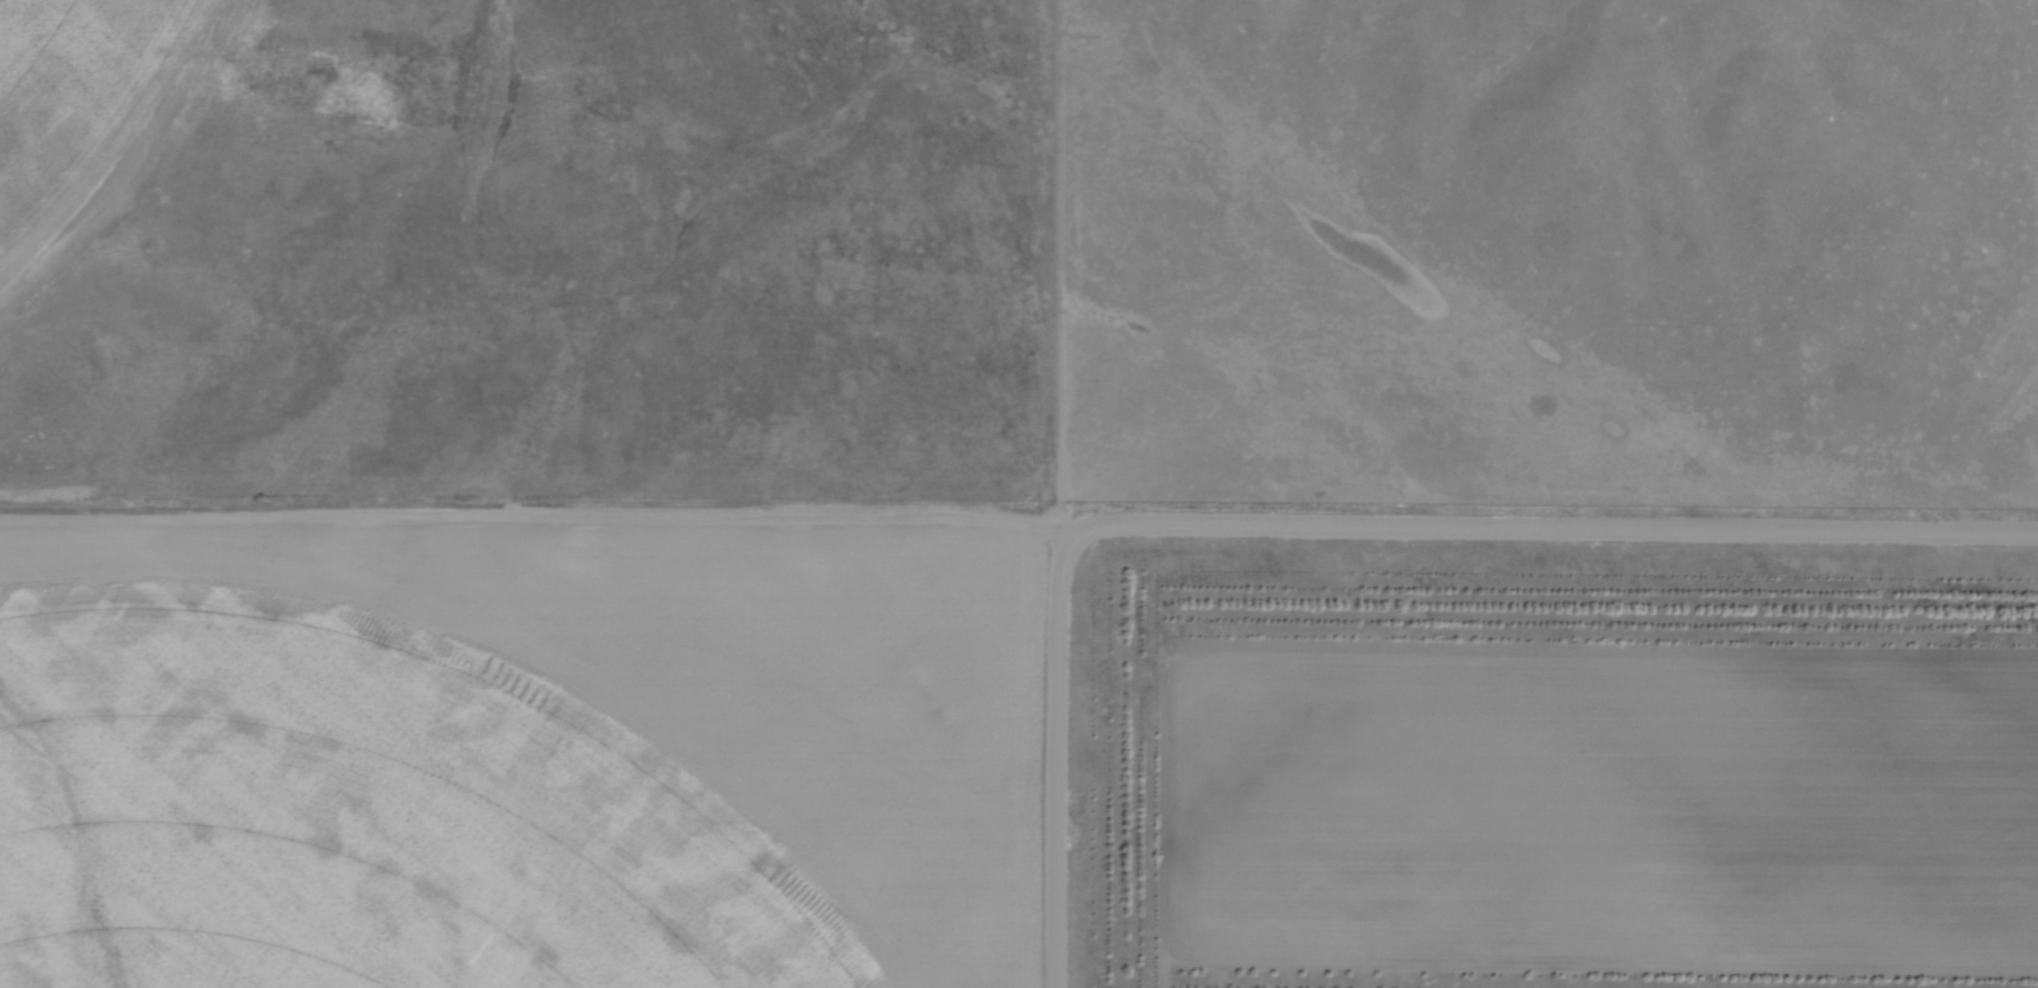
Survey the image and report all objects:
crop: (85, 112)
road: (1553, 527)
crop: (522, 756)
road: (1053, 763)
crop: (1601, 821)

